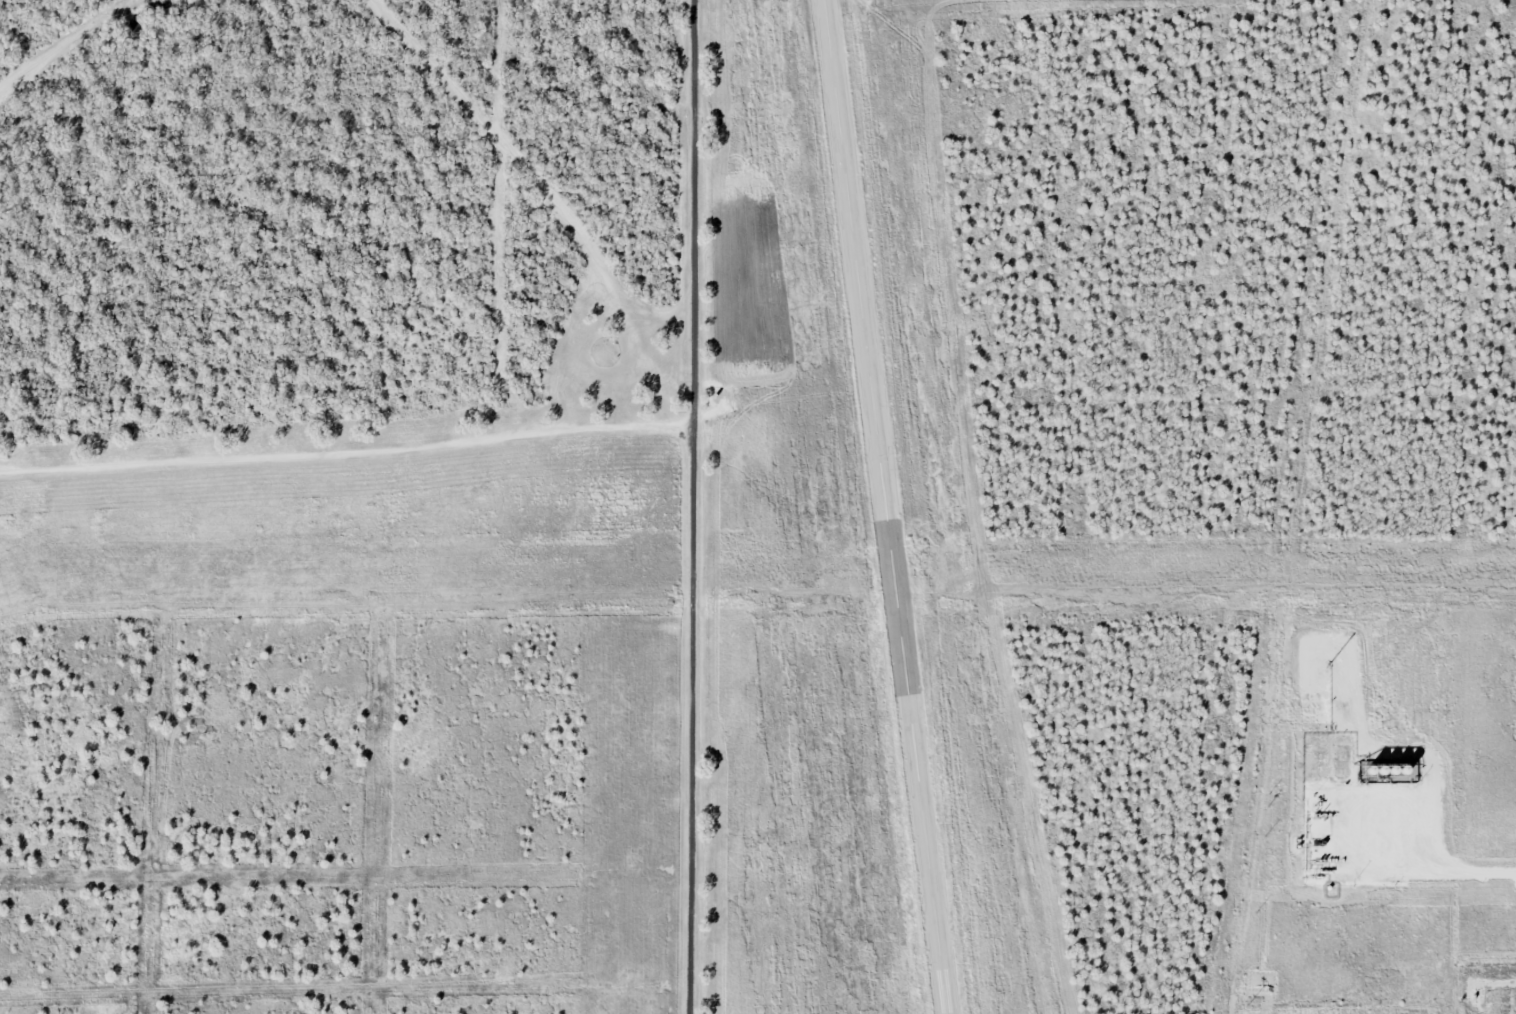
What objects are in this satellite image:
road: (691, 506)
airport runway: (887, 507)

